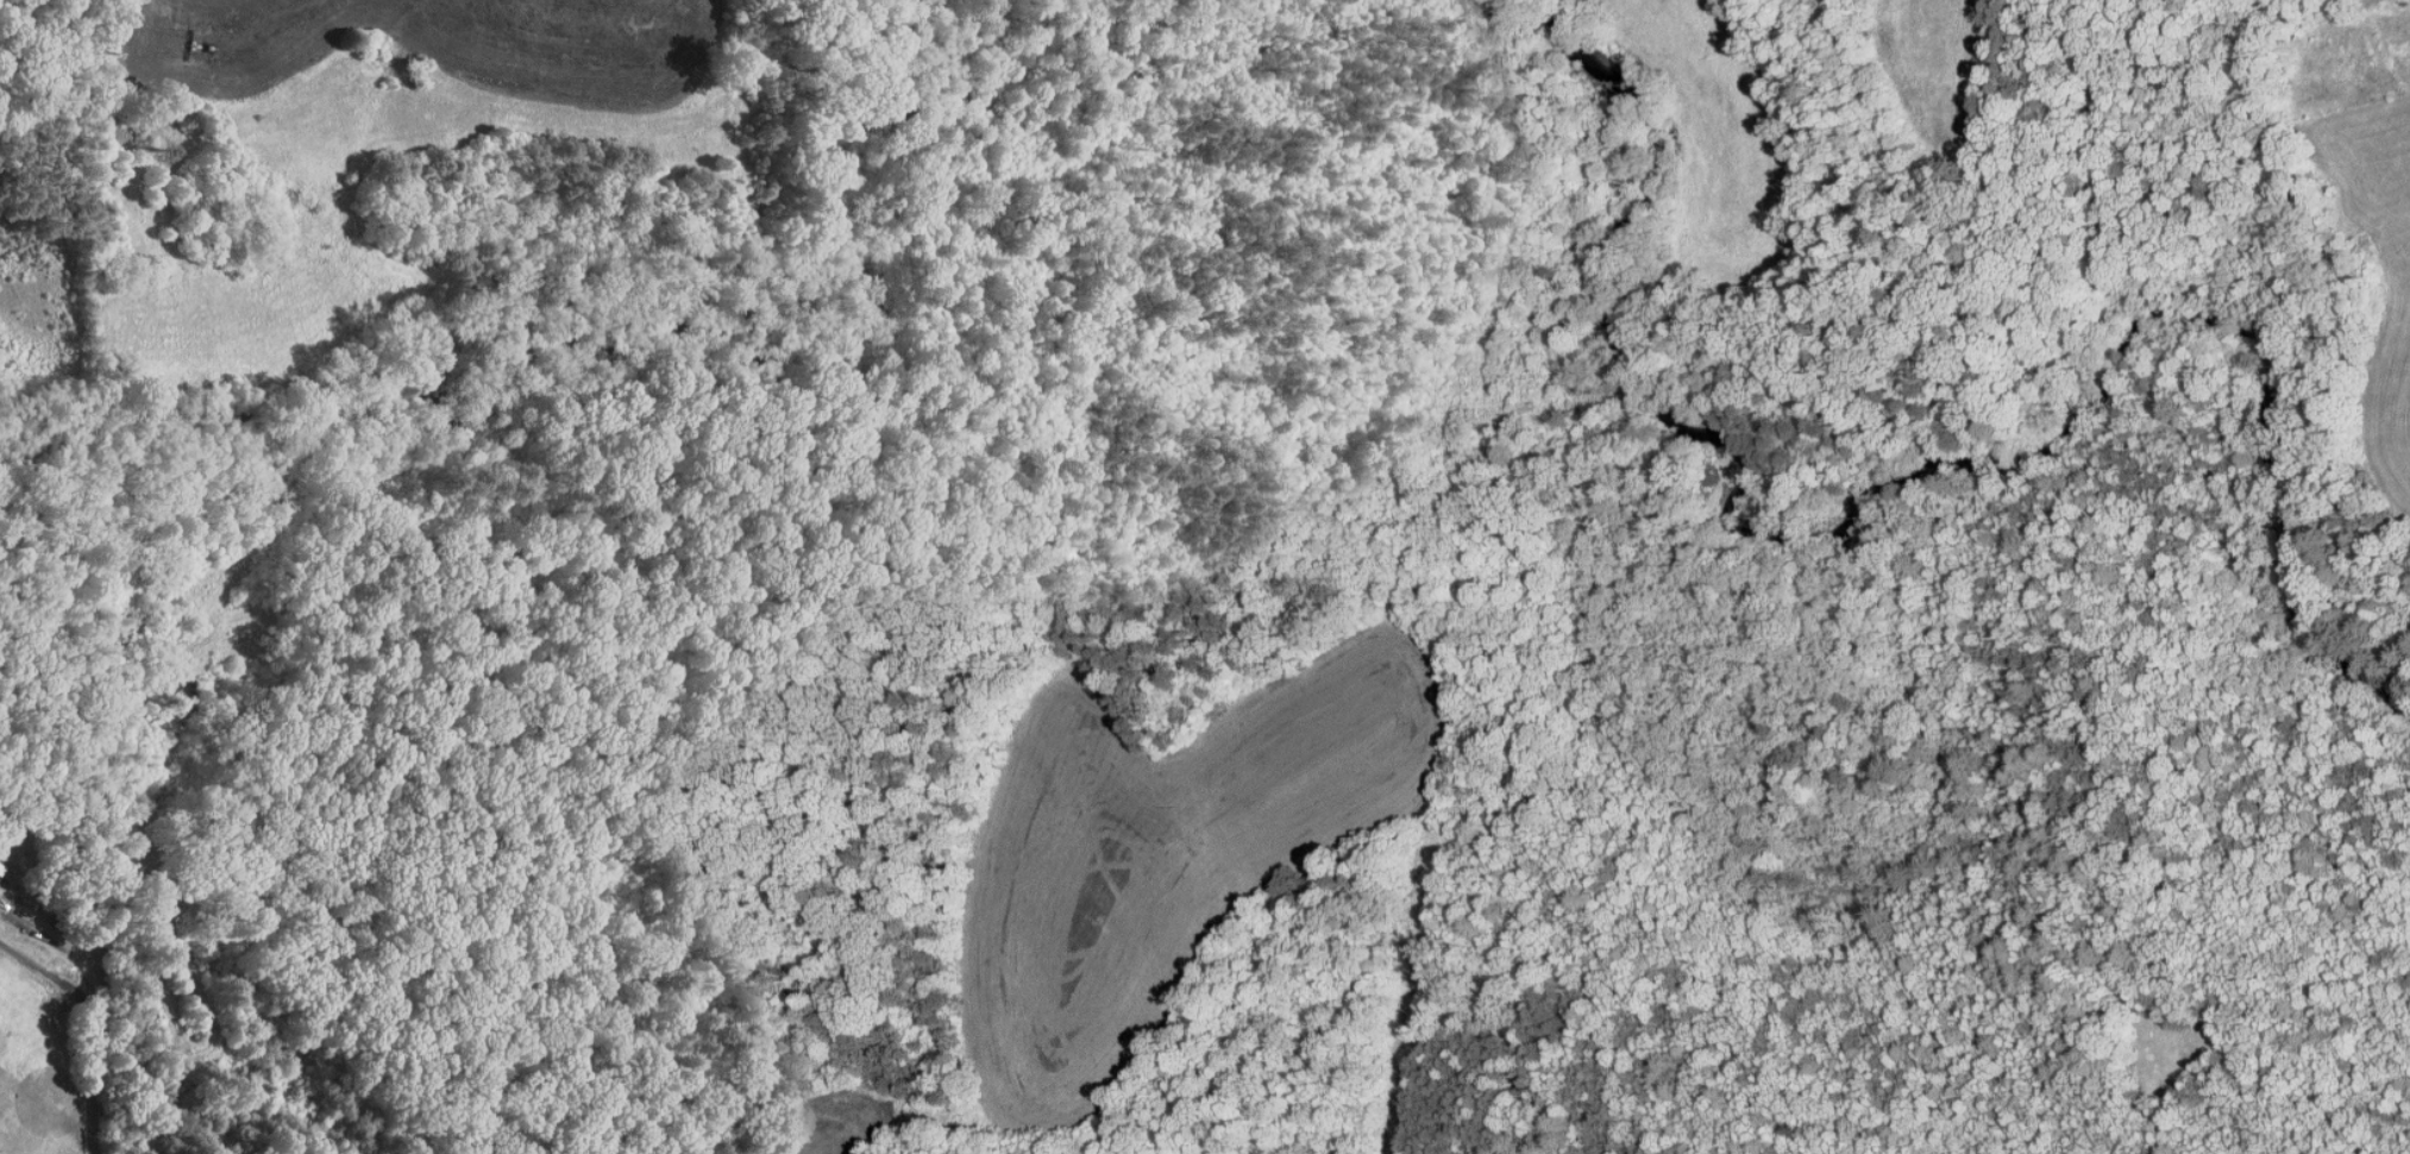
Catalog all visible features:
building: (1, 865)
road: (102, 1016)

